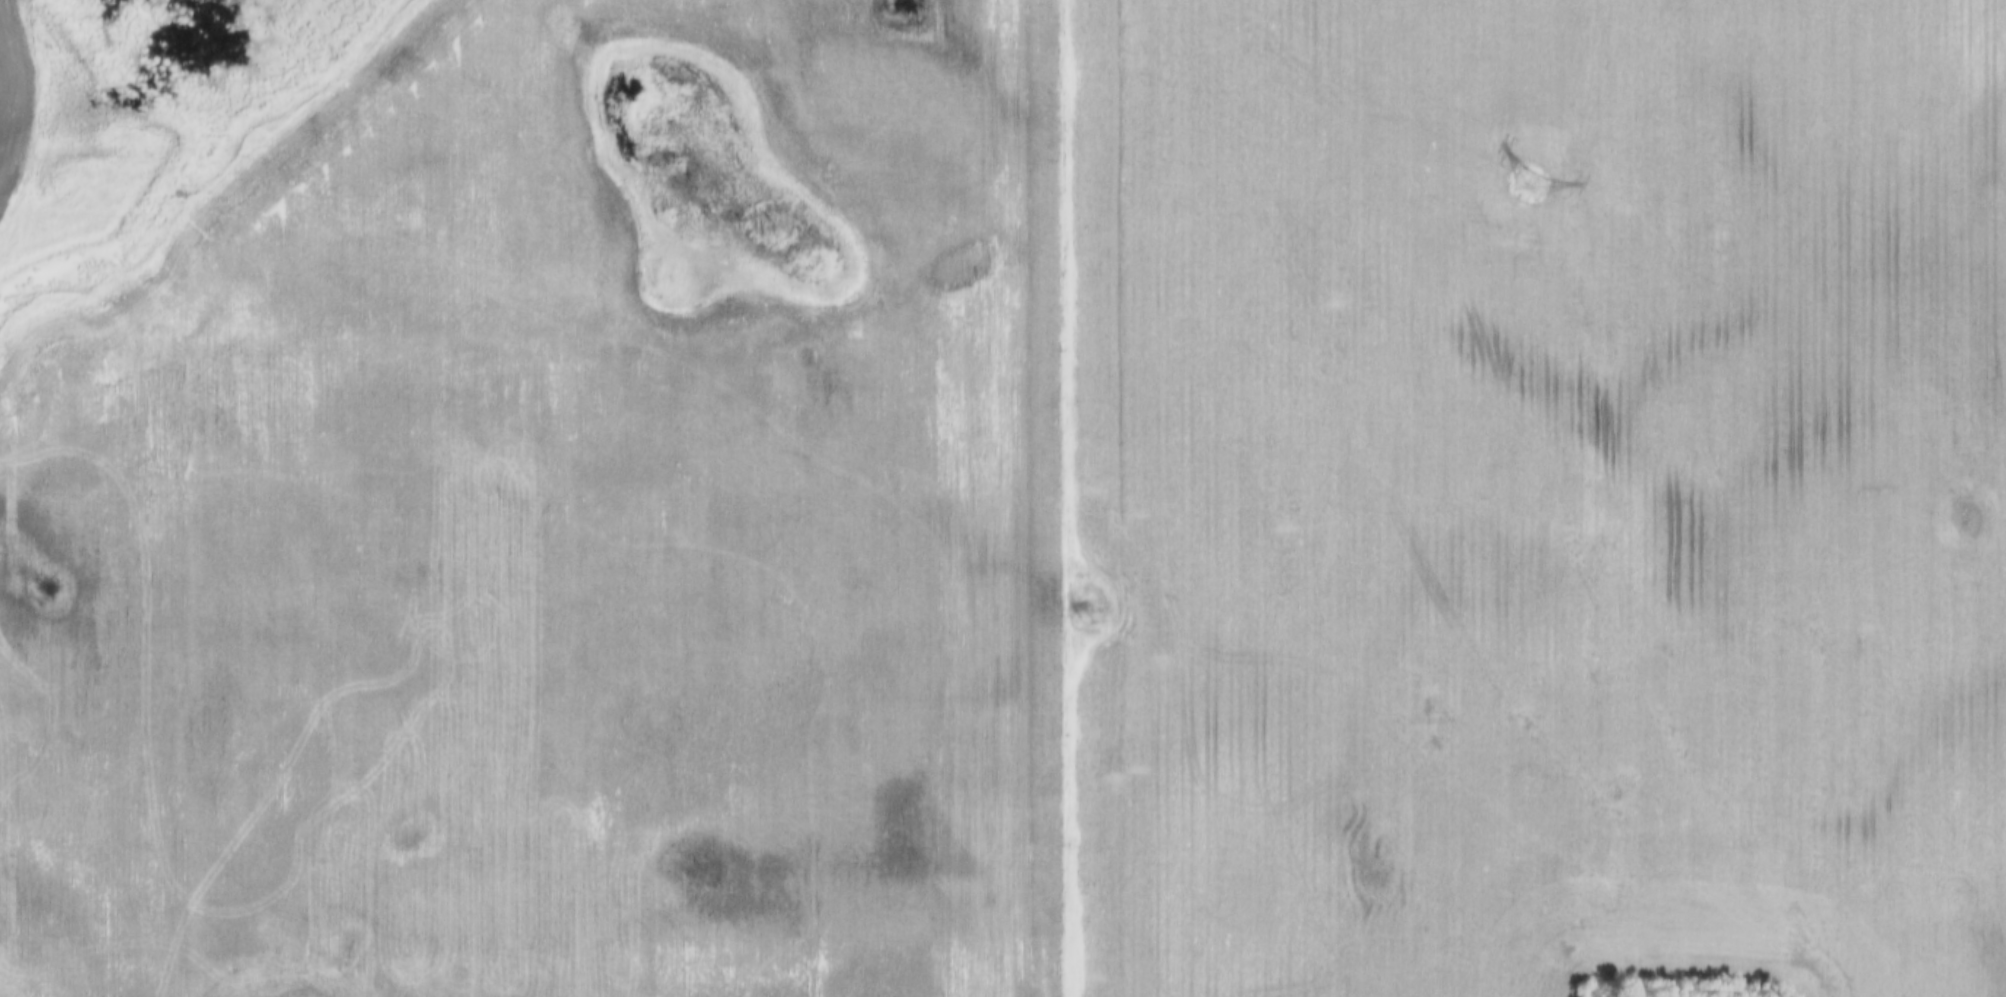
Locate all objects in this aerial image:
power tower: (1538, 183)
building: (1529, 188)

